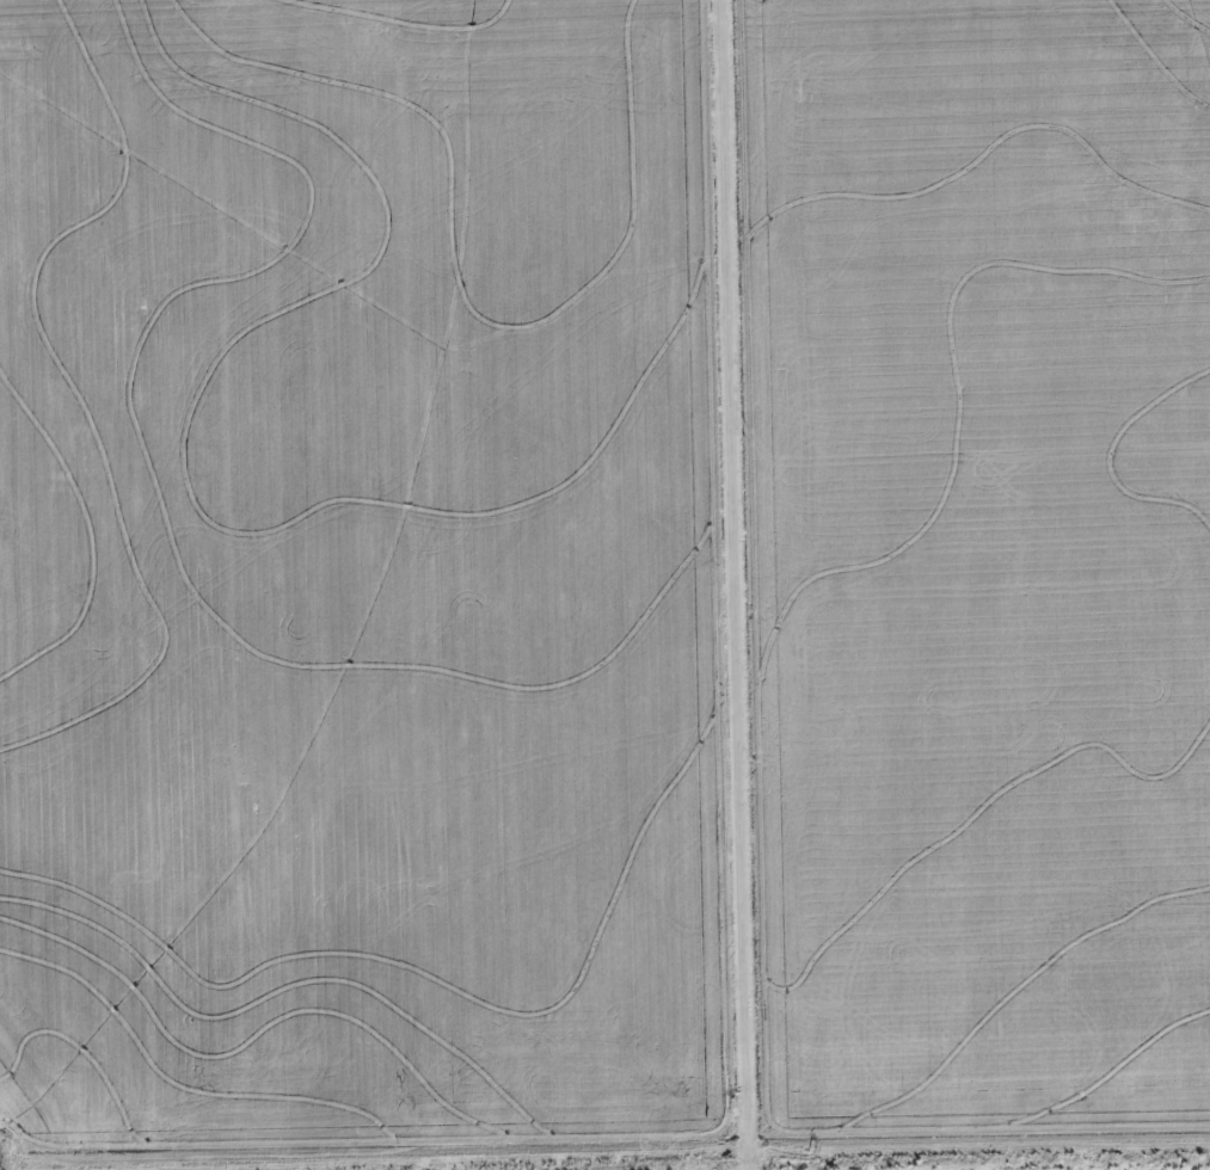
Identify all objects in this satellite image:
road: (758, 585)

